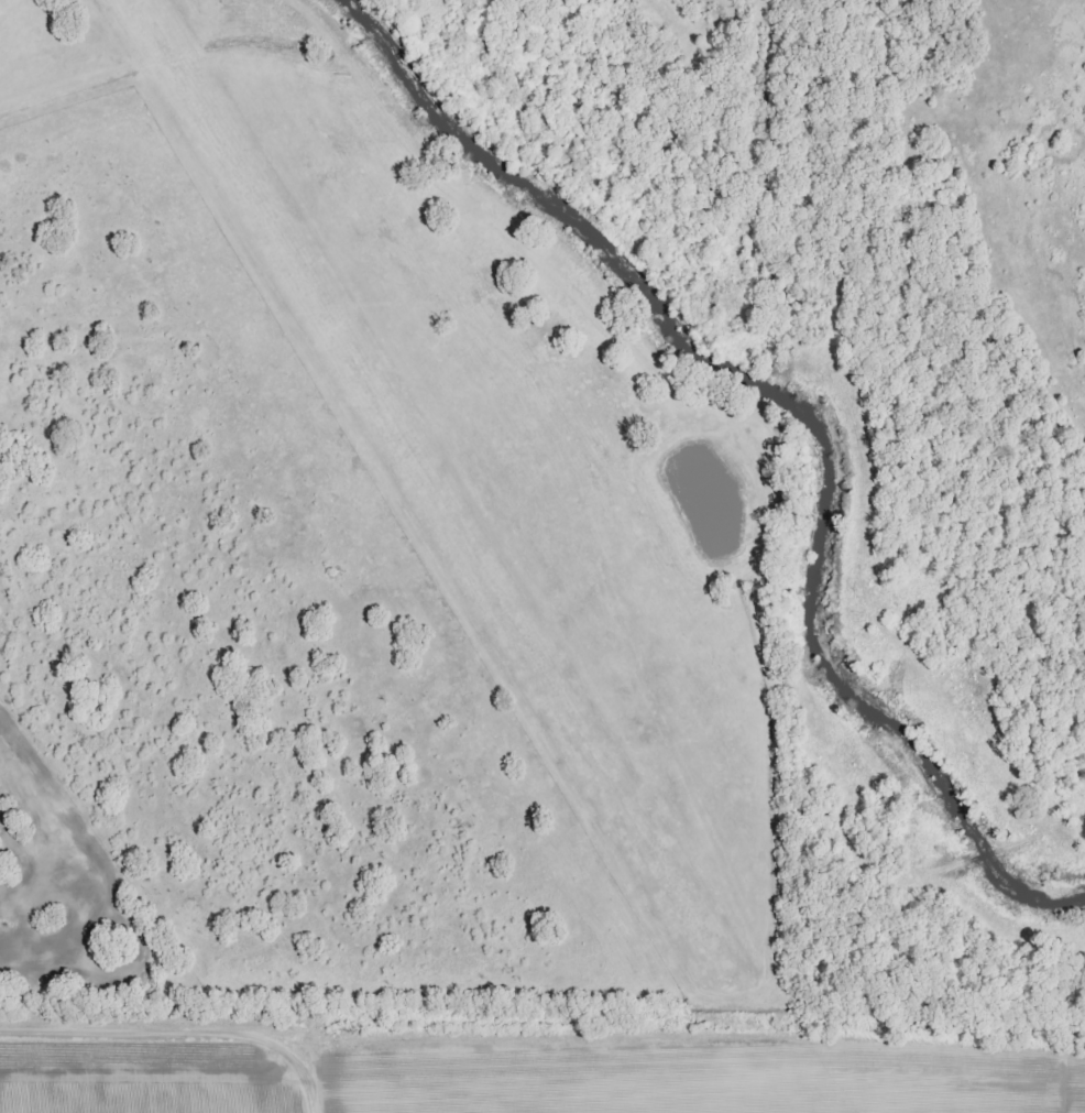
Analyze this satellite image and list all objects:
road: (15, 748)

